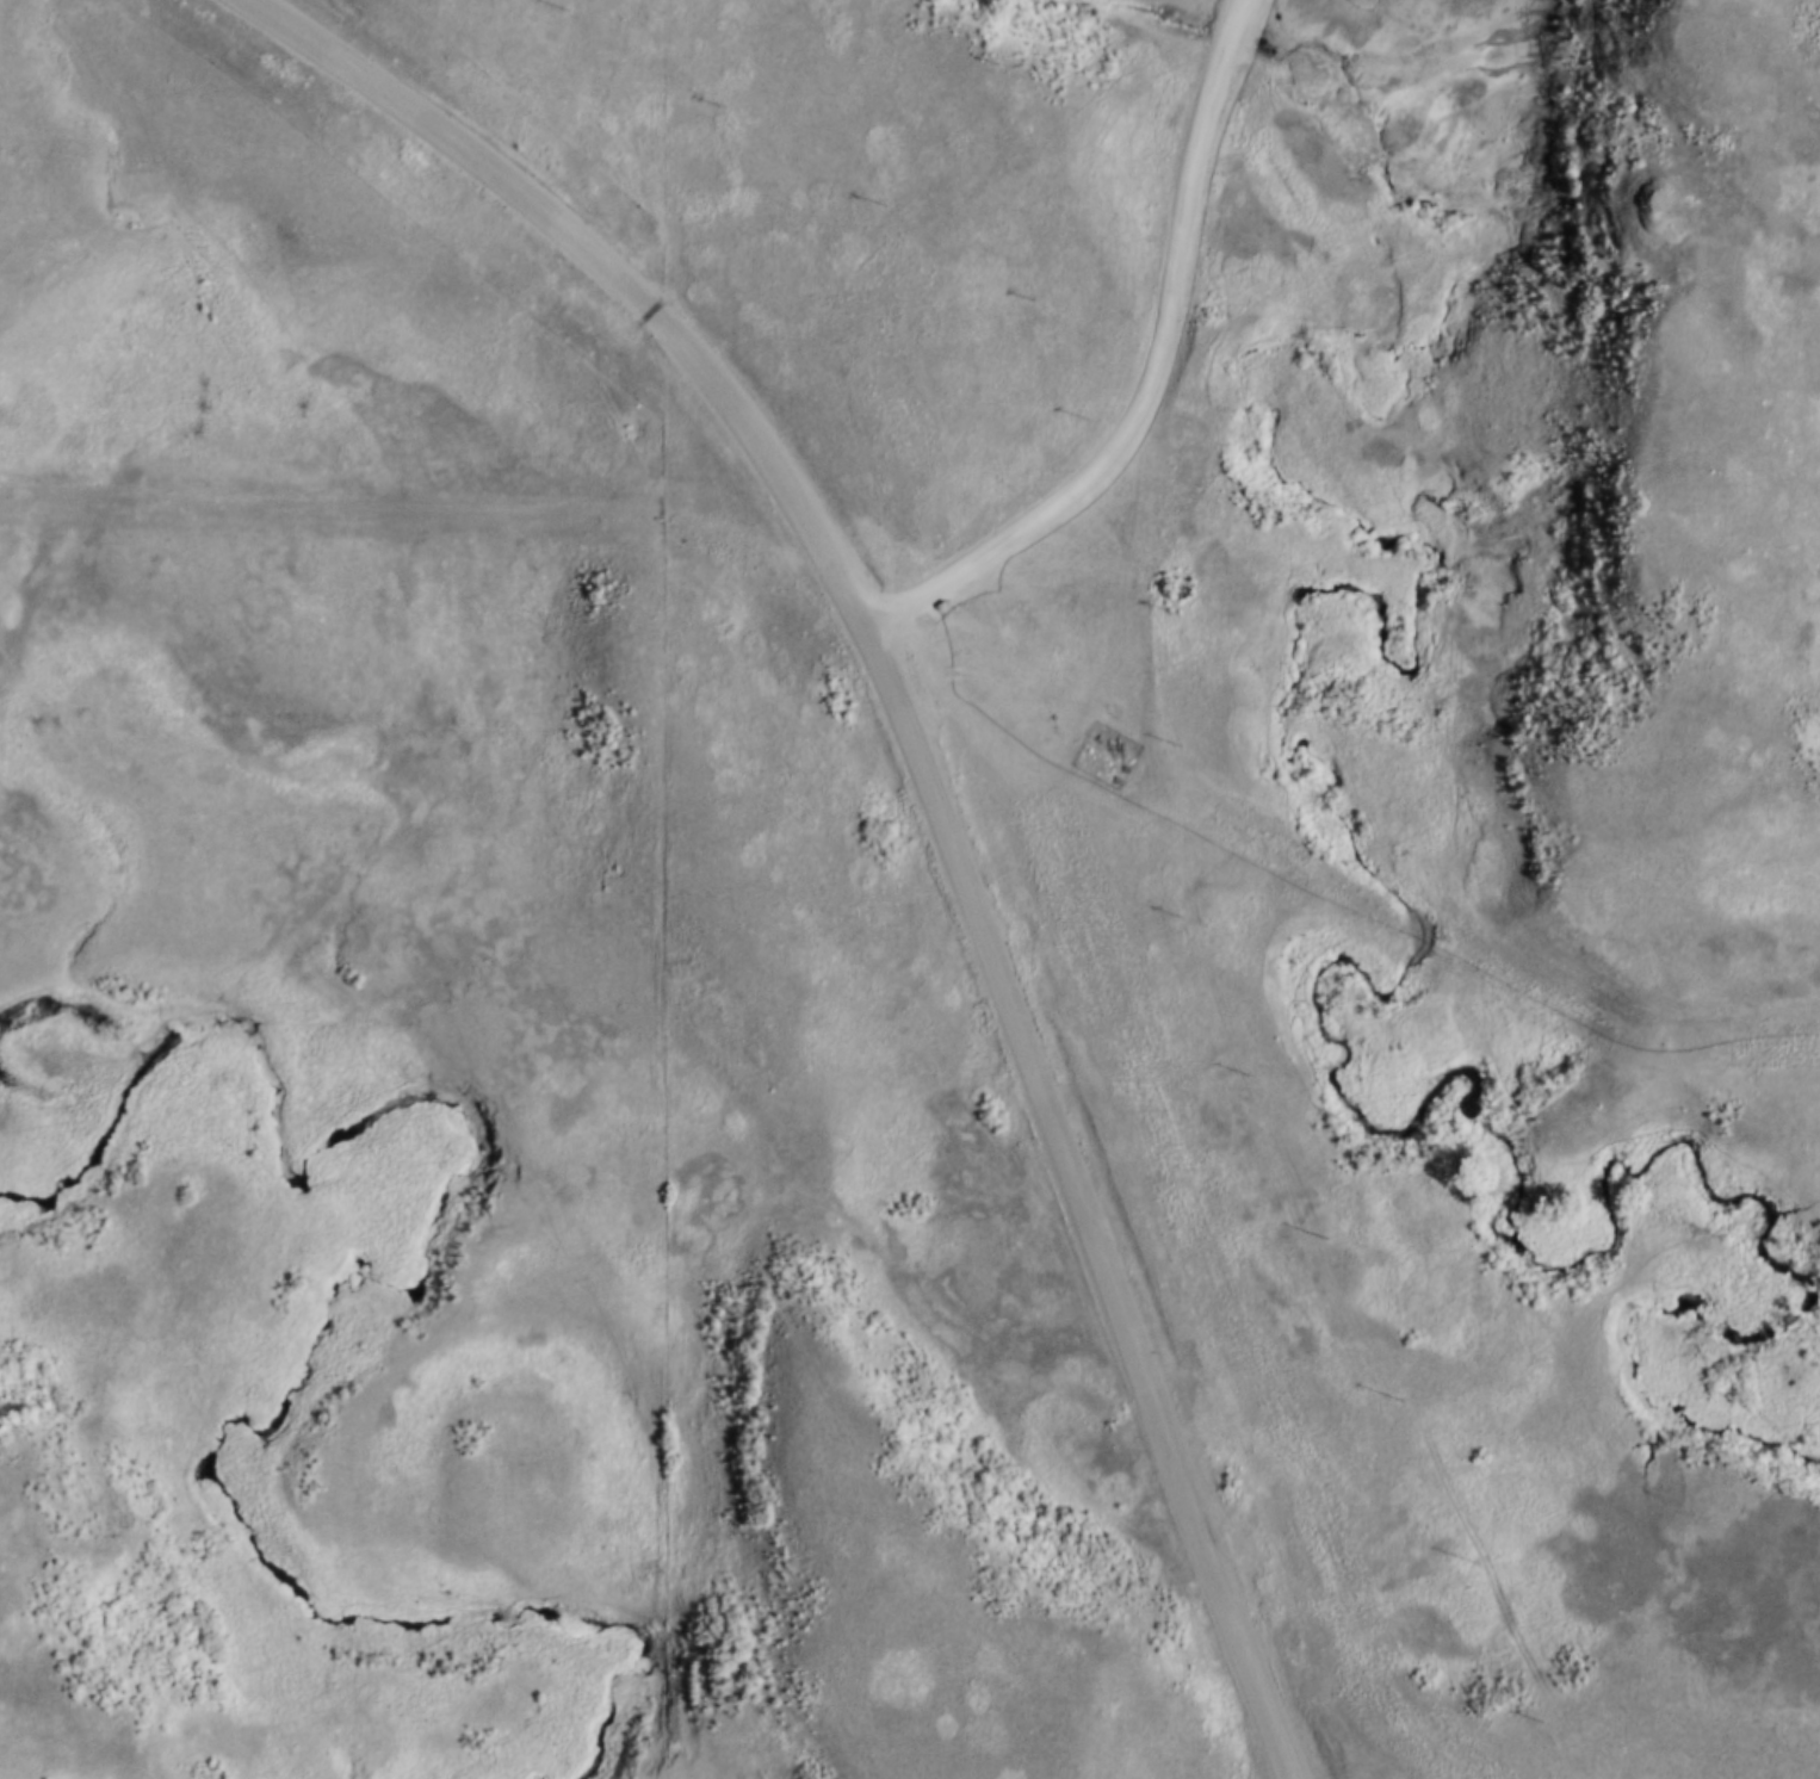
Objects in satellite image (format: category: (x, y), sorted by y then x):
road: (1143, 373)
road: (923, 780)

